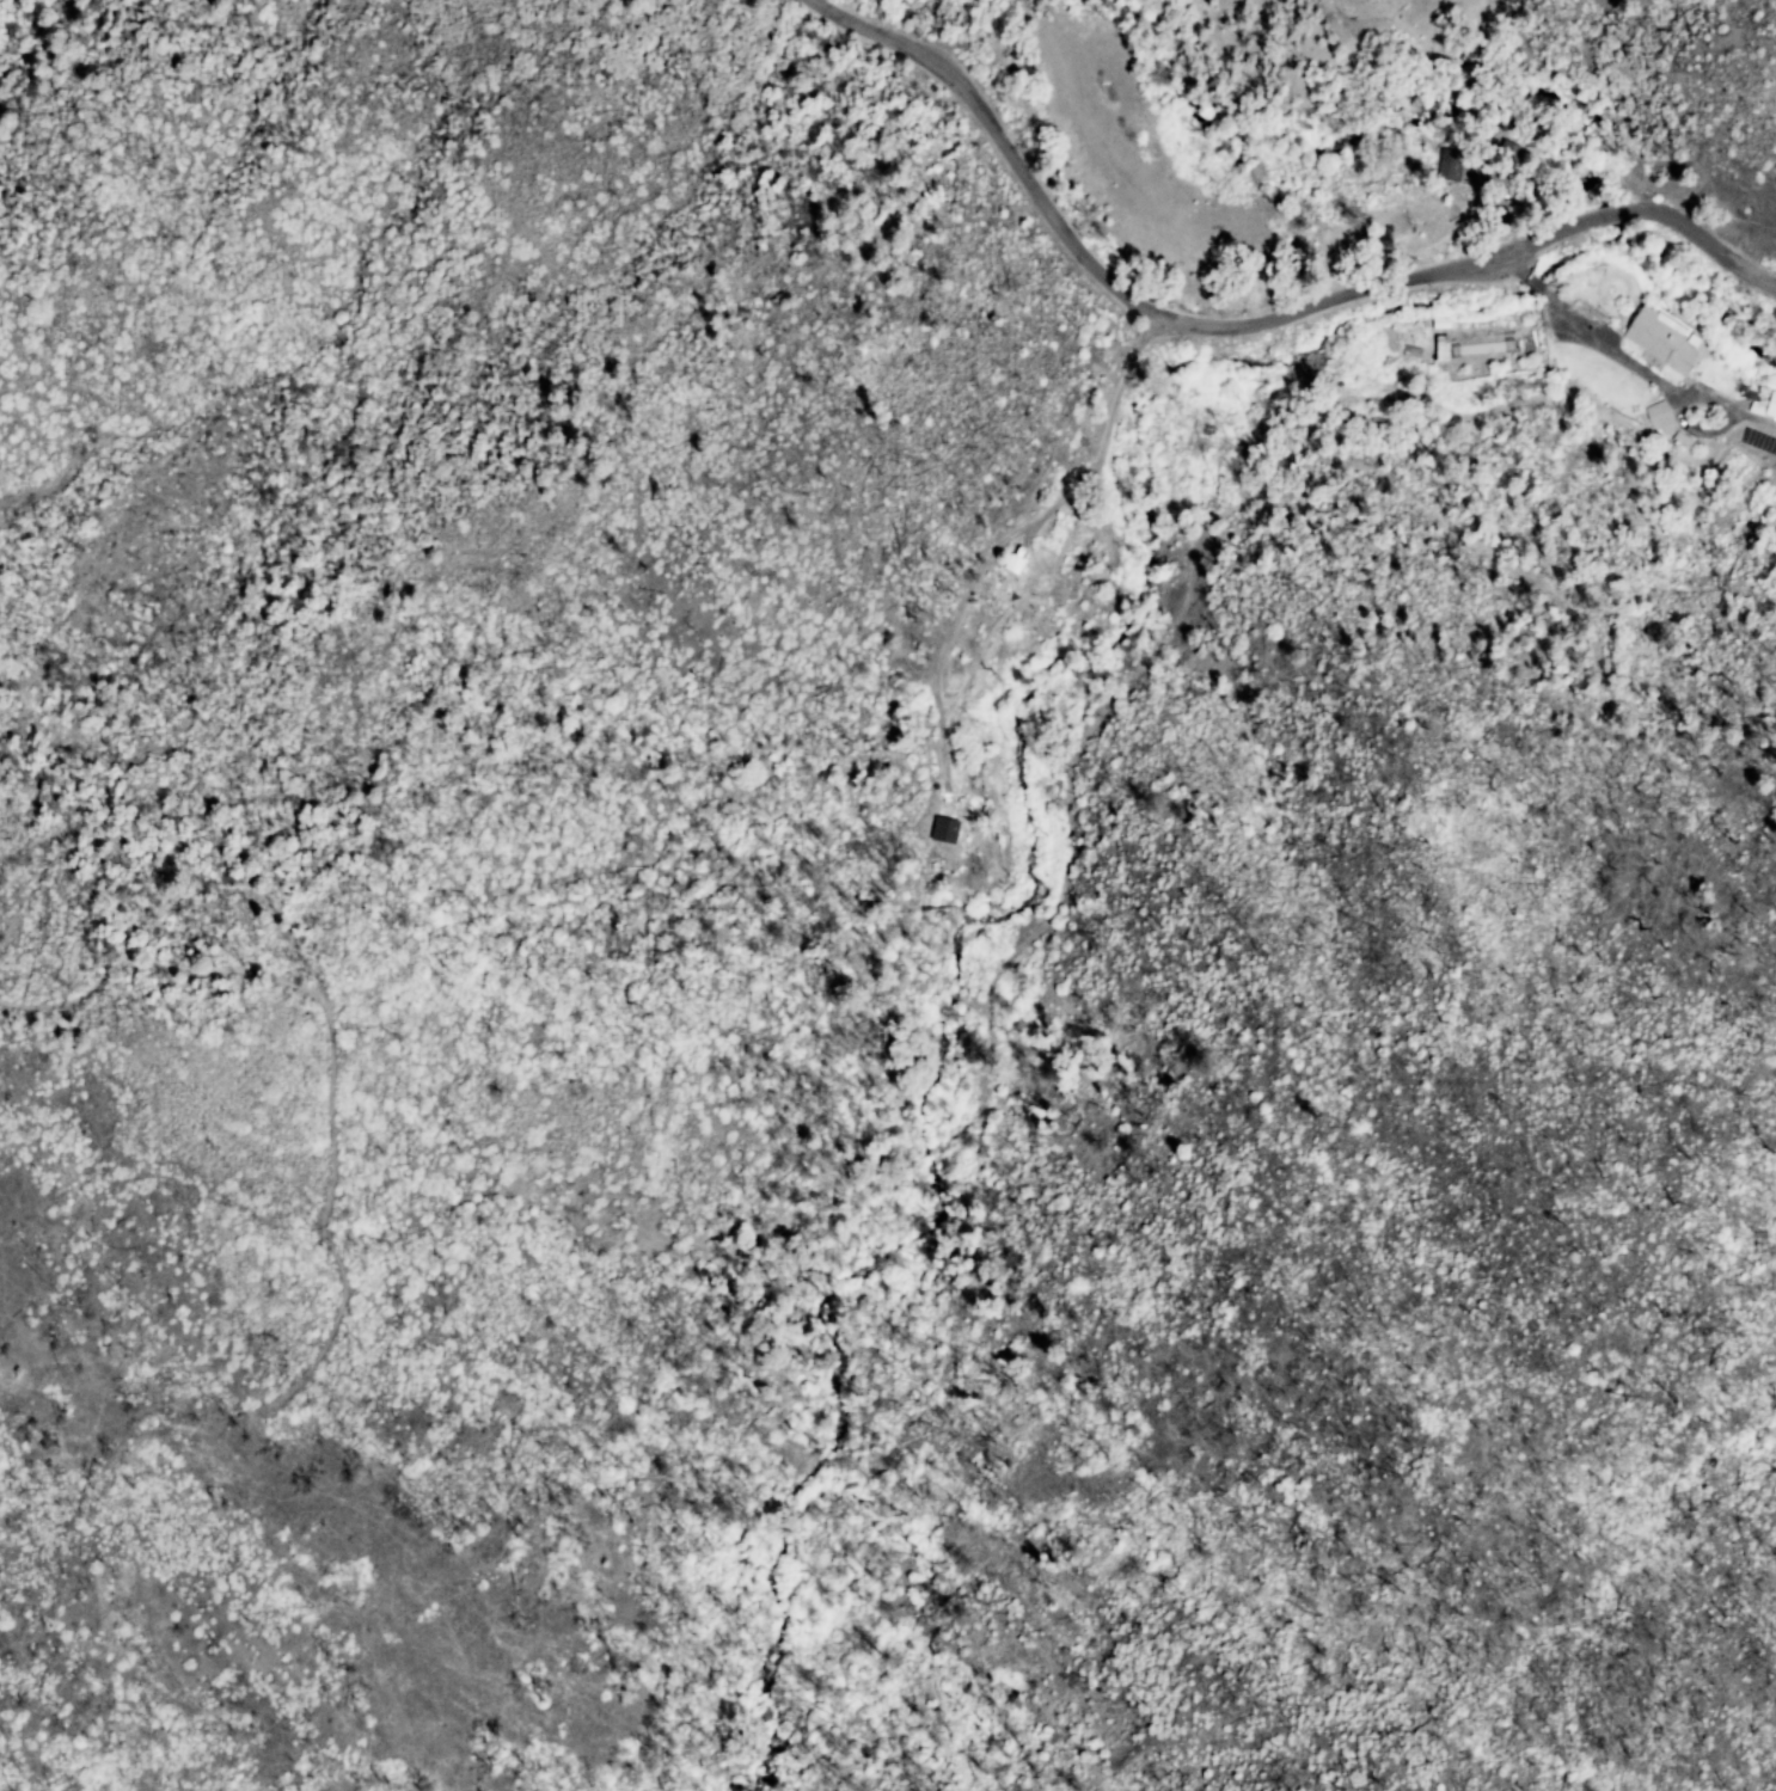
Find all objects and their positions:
building: (1449, 165)
building: (1443, 324)
road: (1247, 327)
building: (1664, 341)
building: (1443, 355)
road: (1629, 363)
building: (1771, 405)
building: (1661, 422)
building: (1710, 433)
building: (1683, 441)
road: (1078, 522)
road: (1010, 540)
building: (1016, 564)
building: (1042, 570)
building: (1037, 600)
building: (960, 655)
building: (939, 820)
road: (157, 964)

